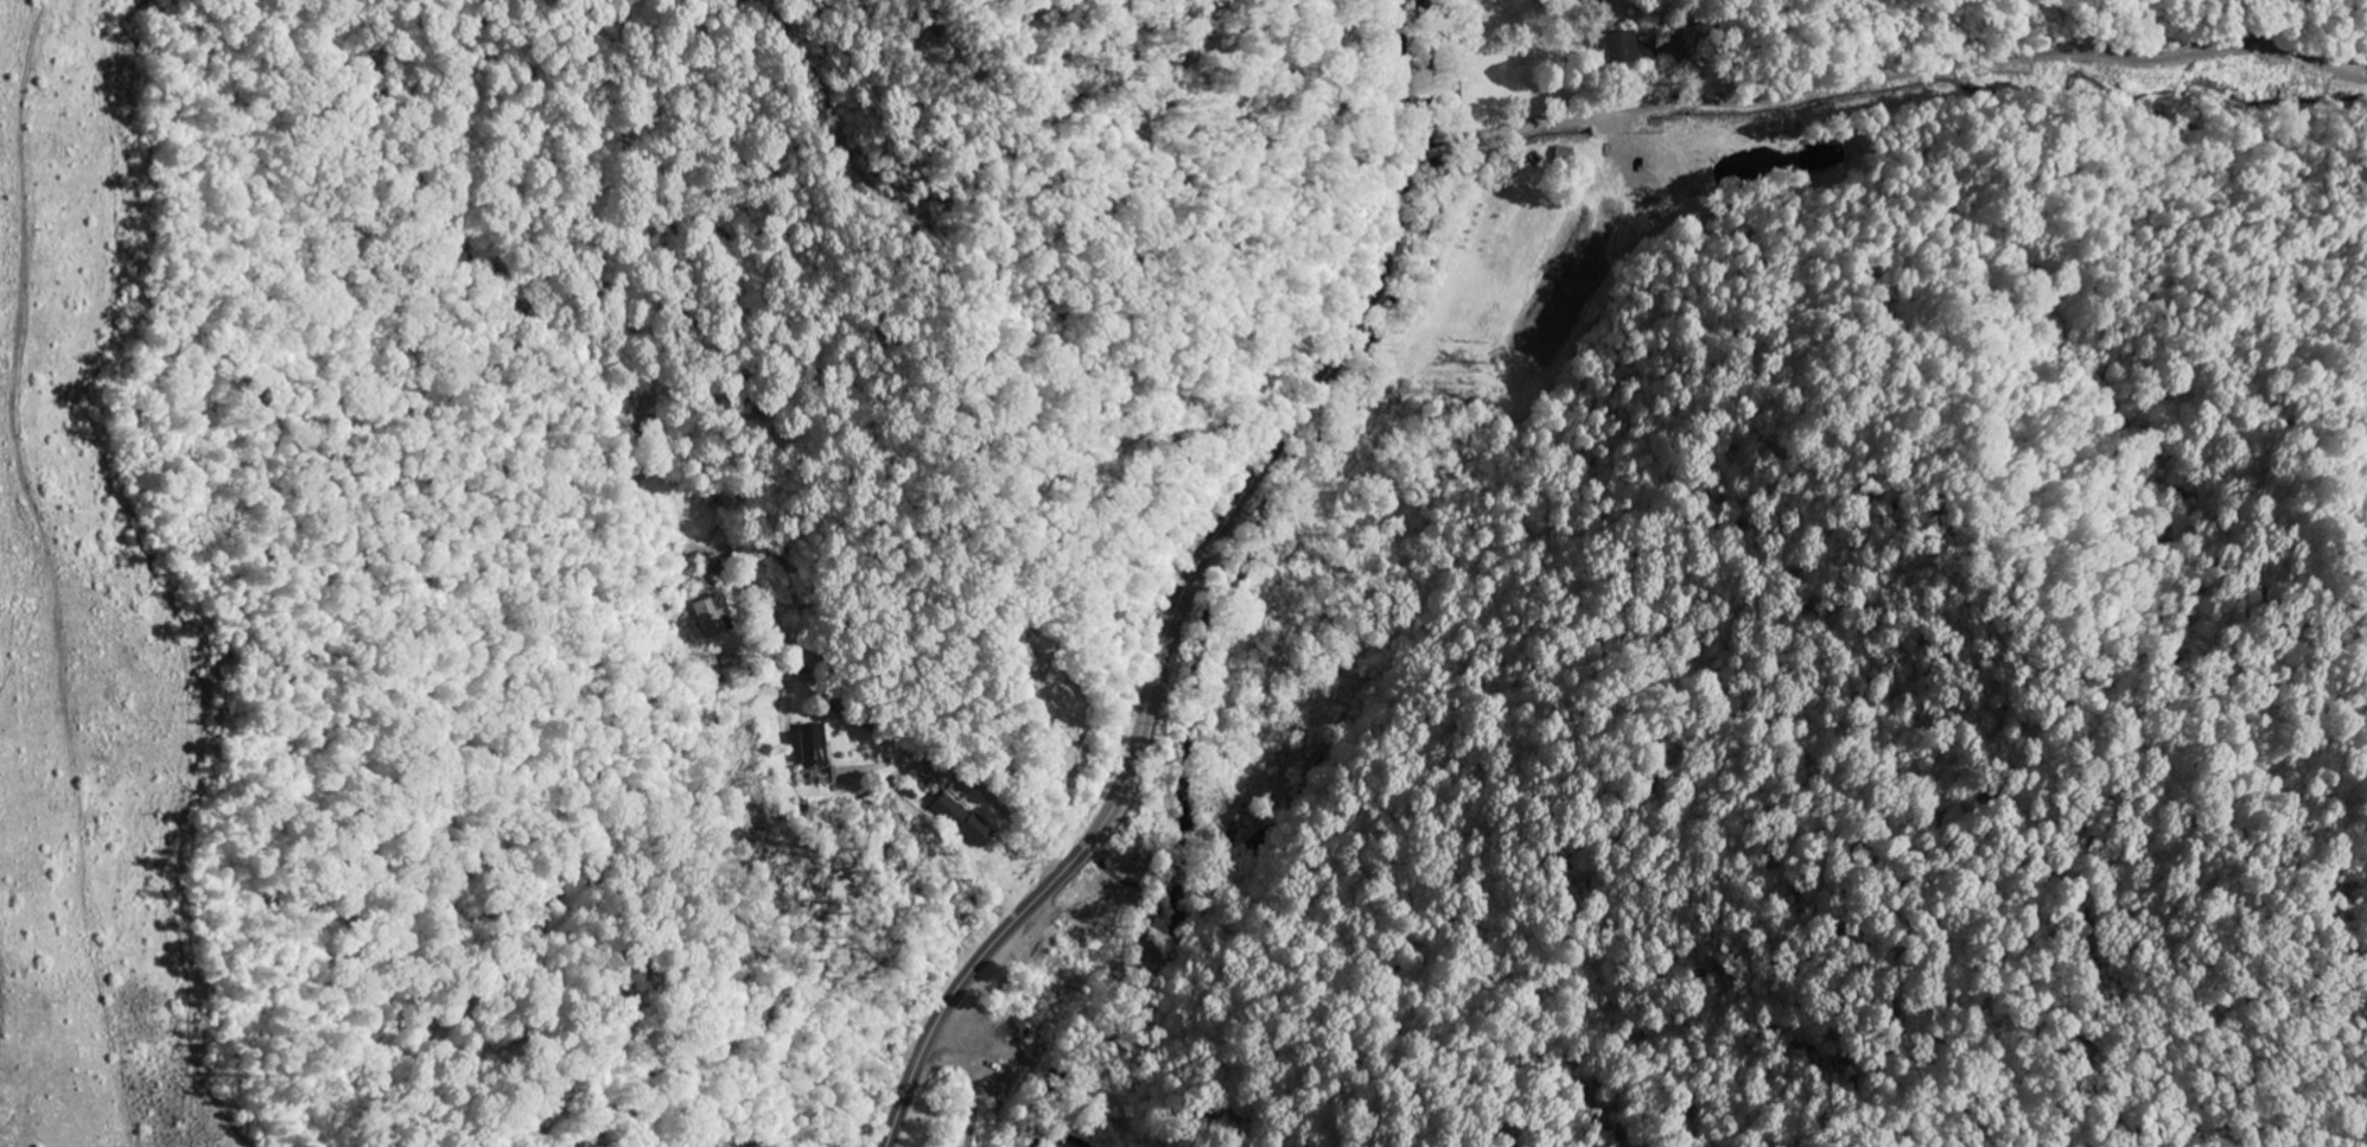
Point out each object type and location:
building: (1631, 51)
road: (1883, 75)
road: (1190, 586)
building: (715, 619)
park: (1043, 682)
building: (812, 751)
road: (938, 757)
building: (963, 821)

